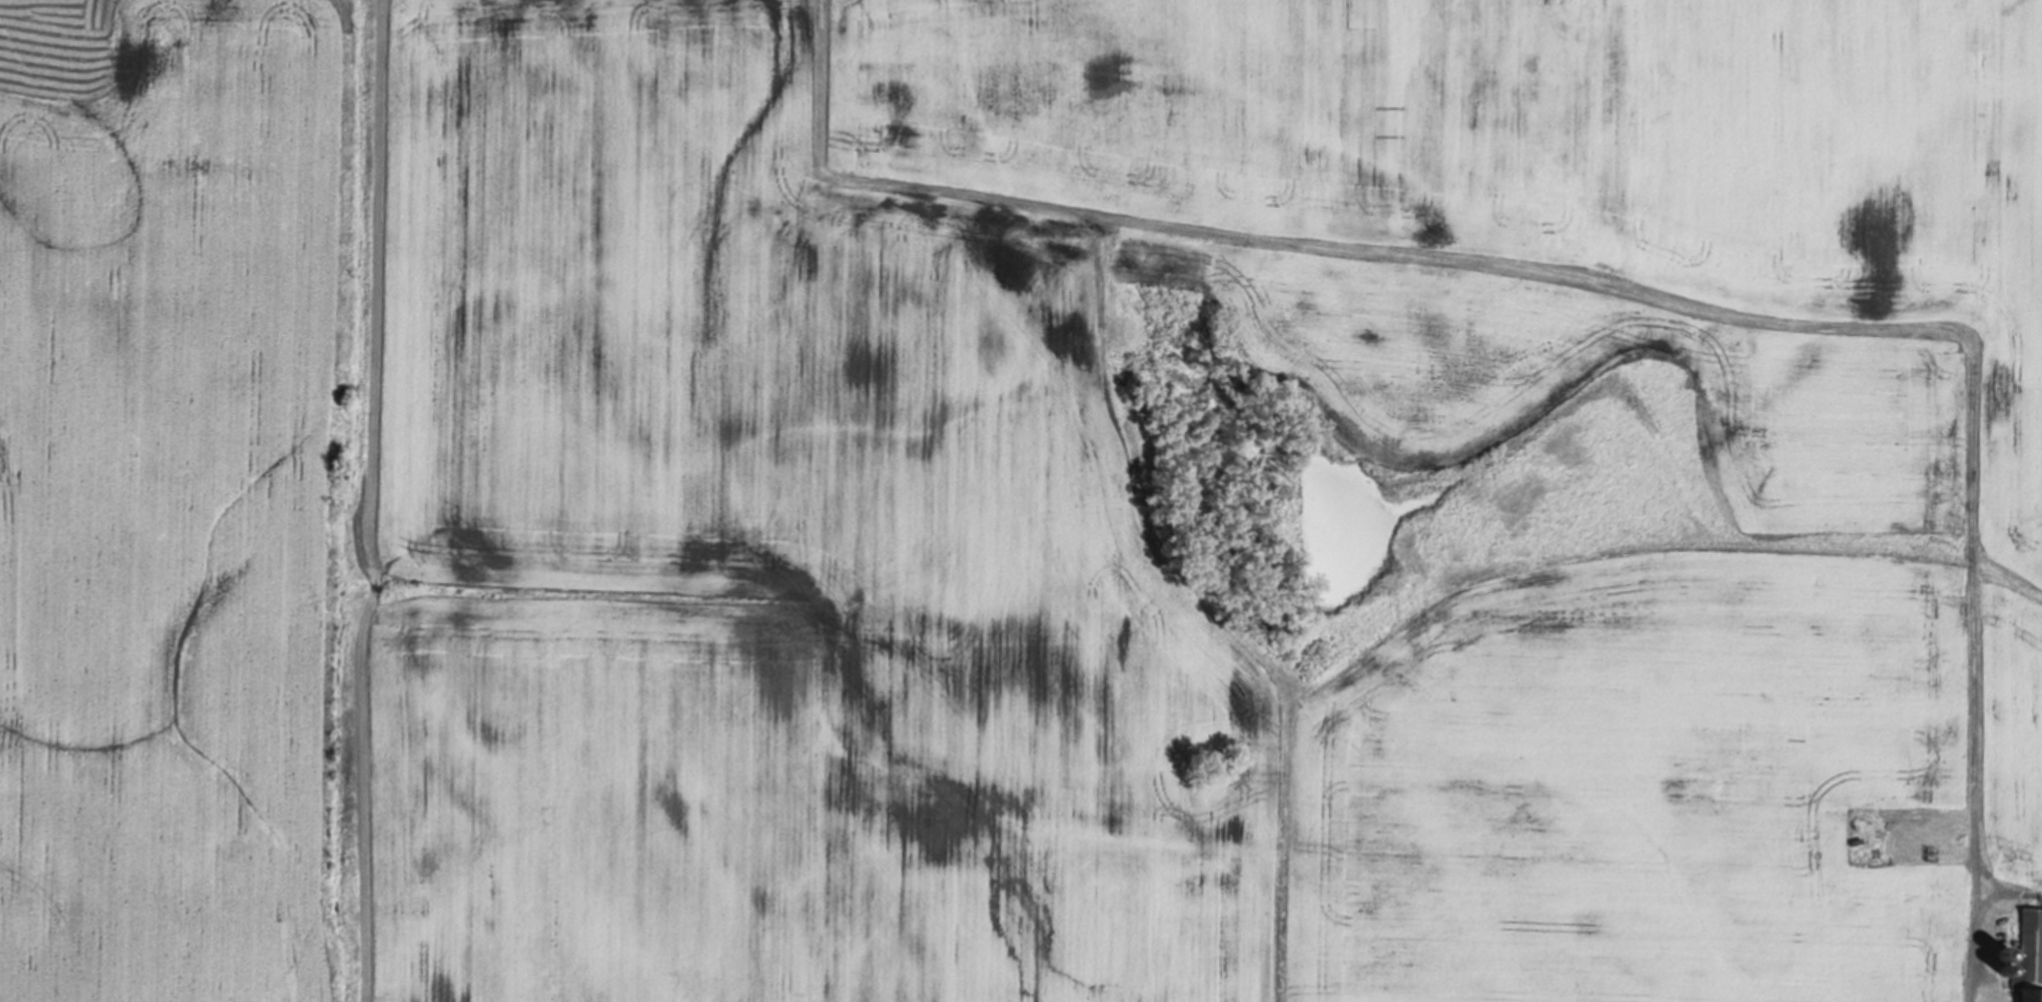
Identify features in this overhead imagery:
building: (1854, 848)
road: (1971, 941)
building: (2026, 955)

